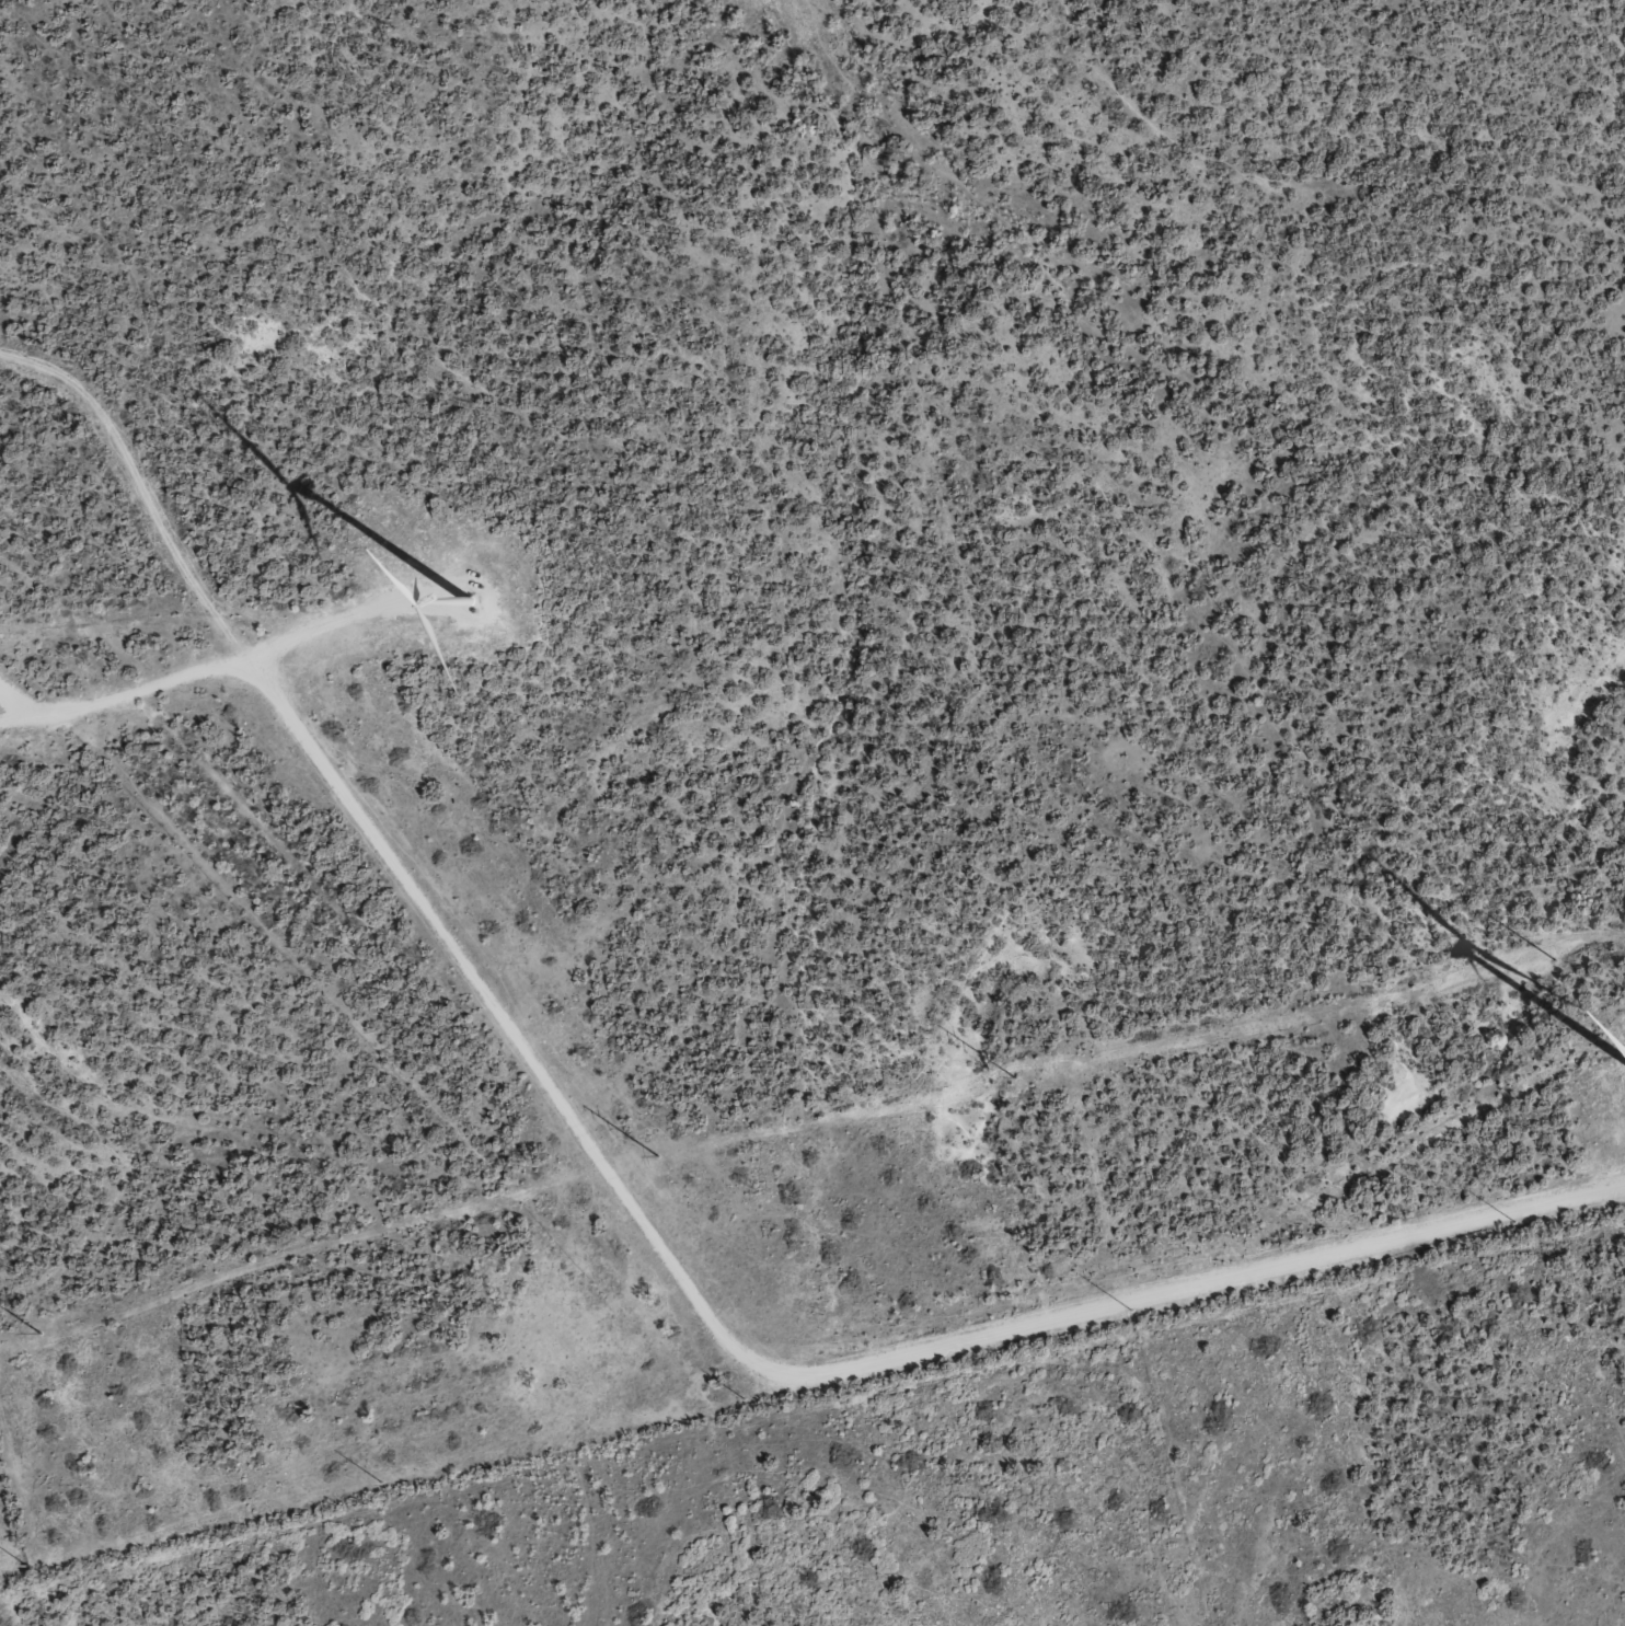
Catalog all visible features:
wind turbine: (482, 601)
power tower: (1549, 961)
power tower: (1011, 1079)
power tower: (655, 1157)
road: (655, 1191)
power tower: (1515, 1222)
power tower: (1129, 1308)
power tower: (37, 1335)
power tower: (747, 1397)
power tower: (383, 1481)
power tower: (27, 1565)

